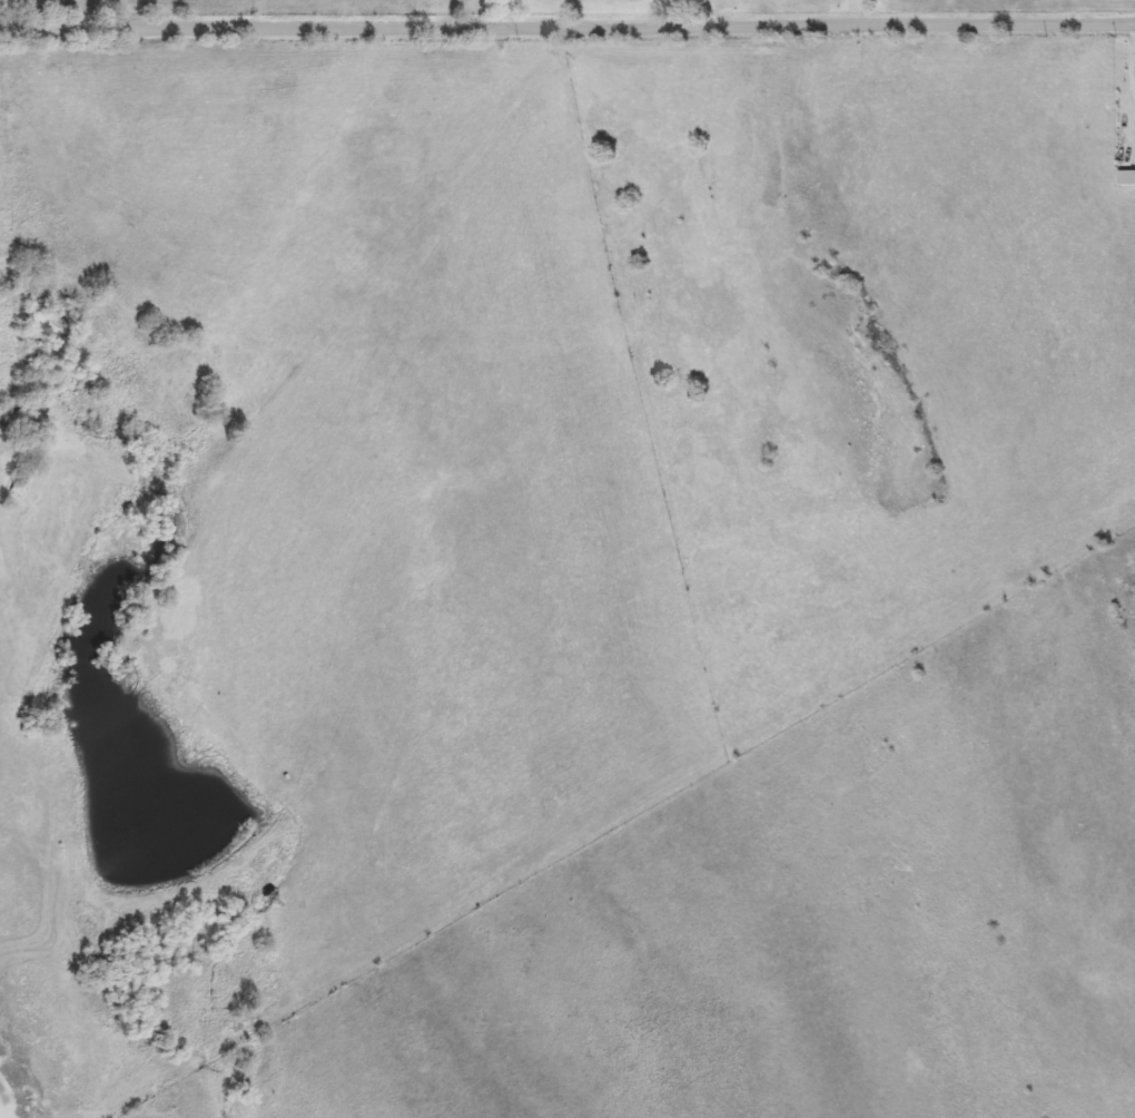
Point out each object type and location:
road: (499, 16)
road: (567, 30)
building: (21, 475)

